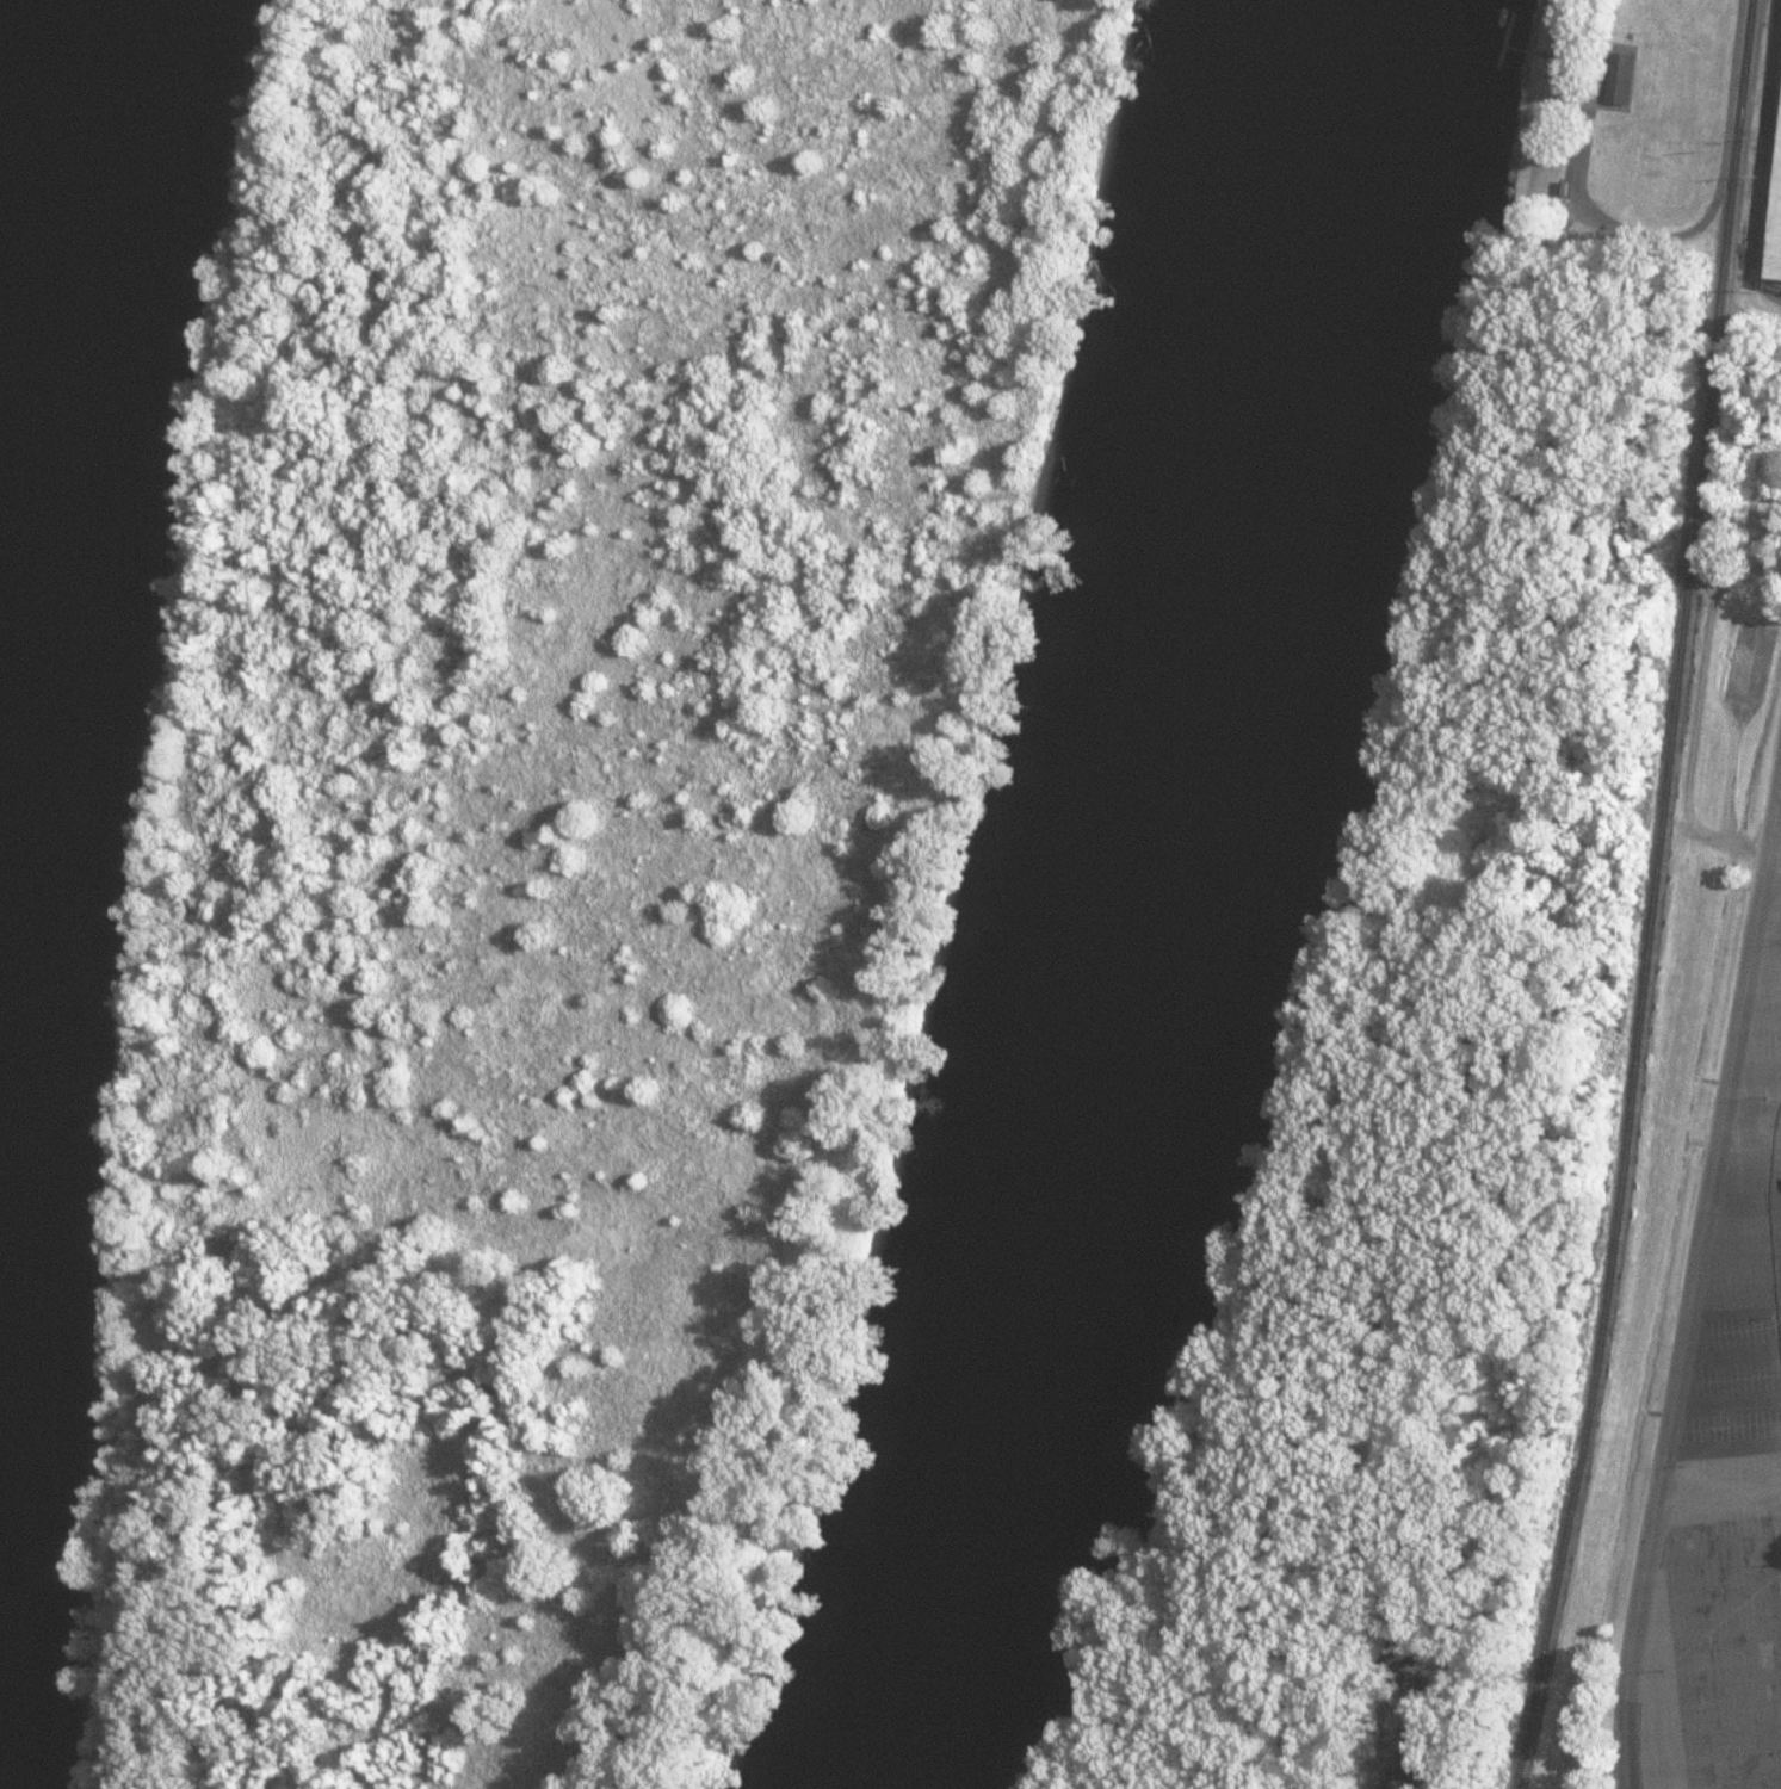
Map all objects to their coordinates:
building: (1565, 66)
road: (1760, 157)
building: (1771, 187)
building: (1773, 469)
railway: (1653, 897)
road: (1748, 998)
parking lot: (1726, 1455)
road: (1661, 1490)

